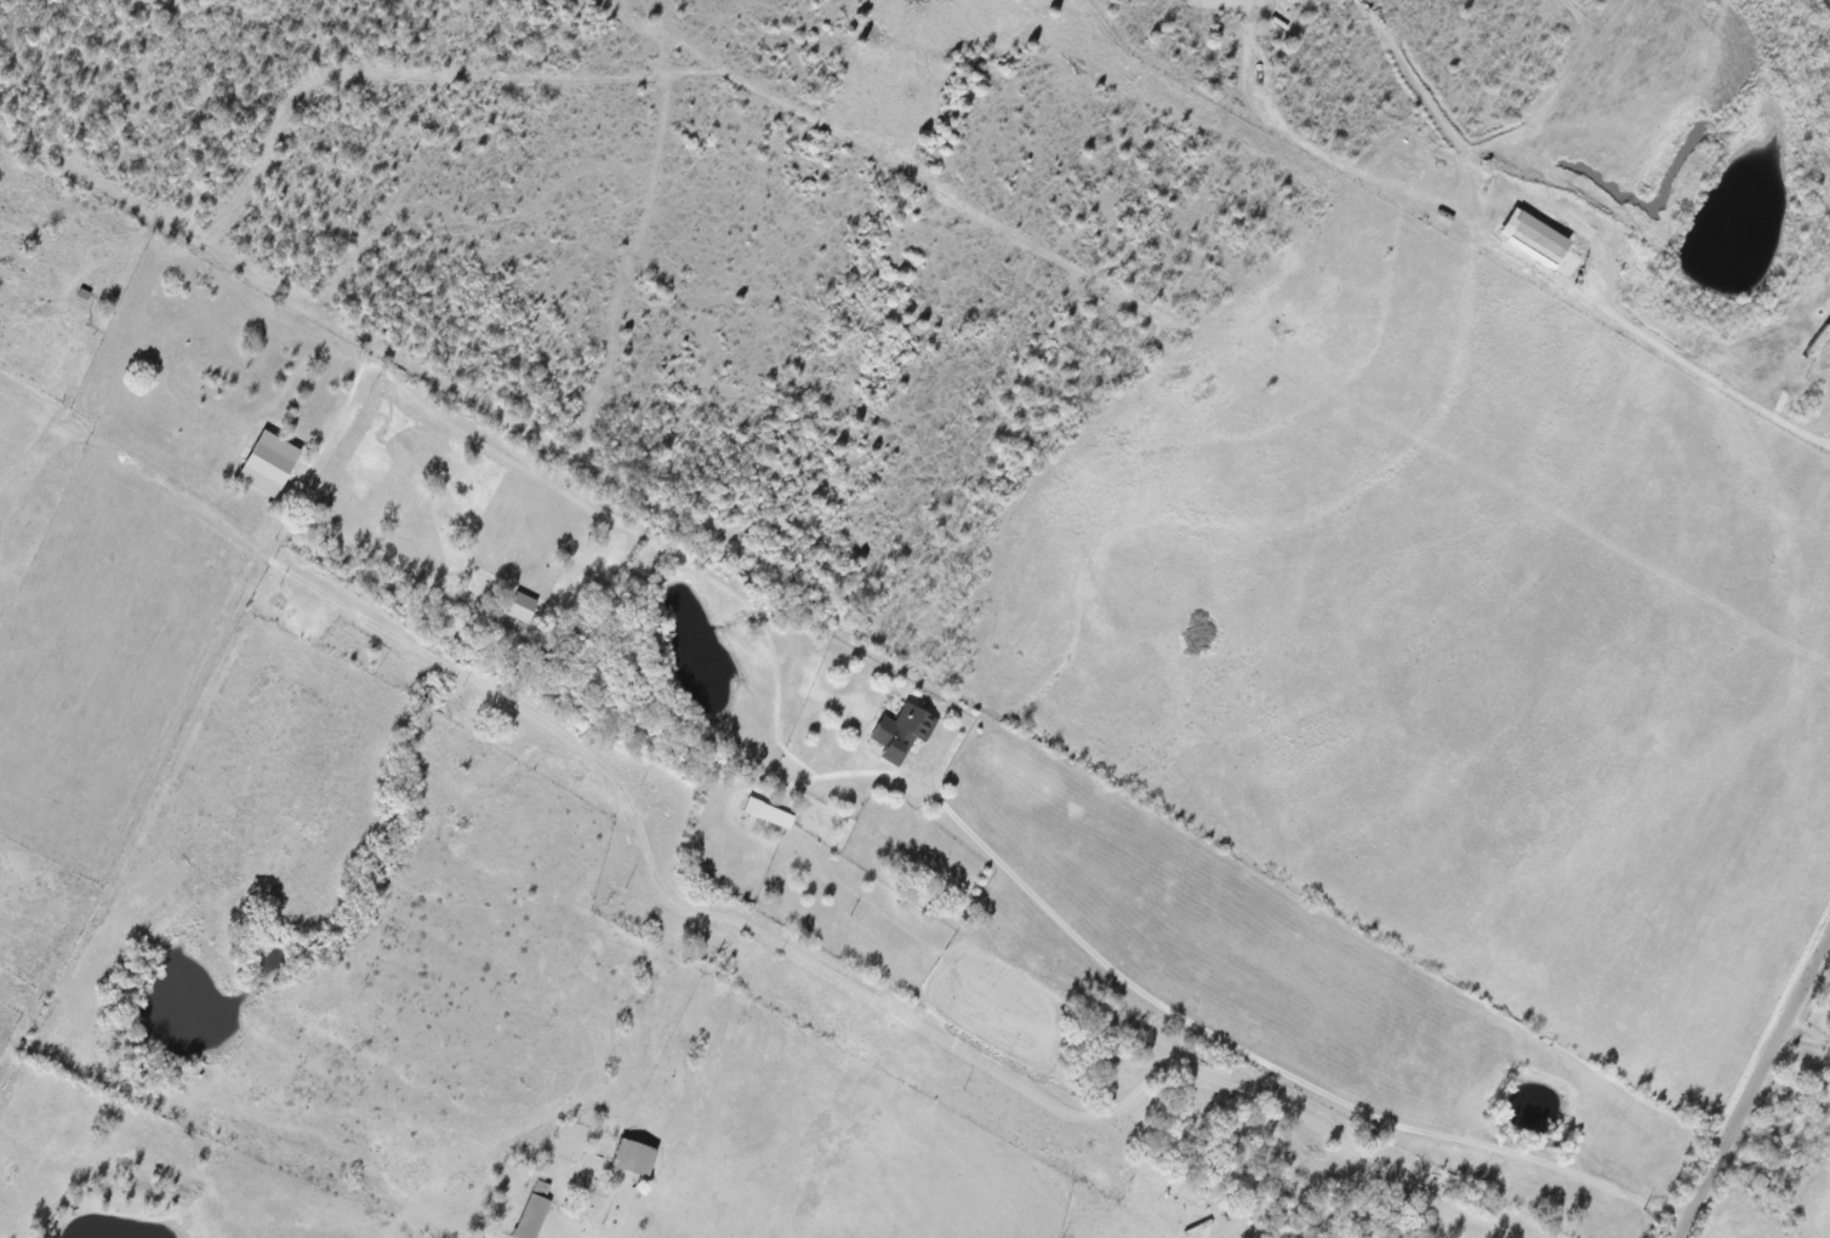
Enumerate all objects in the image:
building: (1534, 236)
building: (1568, 263)
road: (1709, 376)
building: (269, 463)
road: (307, 565)
building: (902, 731)
building: (769, 812)
road: (1807, 1034)
road: (1266, 1076)
road: (1751, 1086)
road: (1613, 1095)
building: (634, 1156)
building: (531, 1216)

